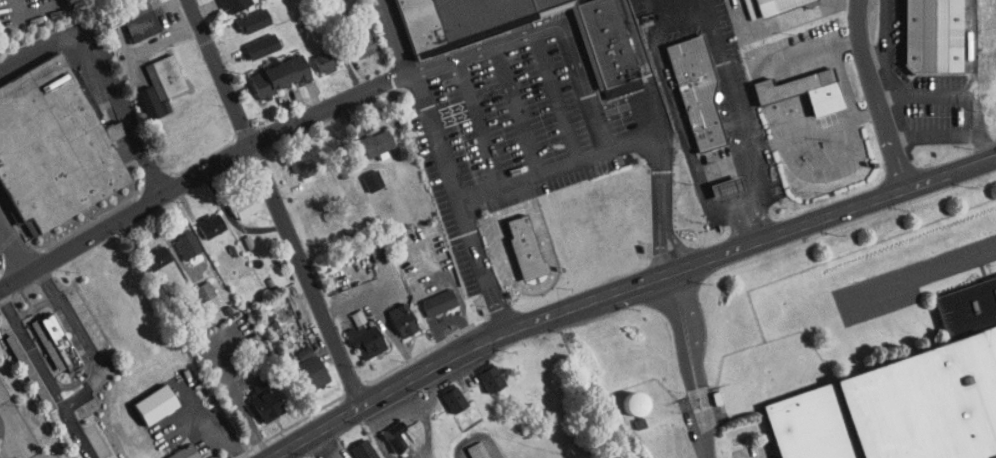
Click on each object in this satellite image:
building: (220, 2)
building: (547, 5)
building: (776, 5)
road: (21, 8)
building: (242, 14)
building: (128, 15)
building: (456, 20)
building: (351, 35)
building: (935, 35)
road: (393, 37)
road: (887, 38)
building: (250, 39)
building: (609, 41)
building: (313, 55)
building: (267, 69)
road: (103, 75)
road: (651, 75)
building: (148, 79)
road: (583, 81)
building: (793, 83)
building: (697, 89)
road: (557, 95)
road: (934, 95)
road: (876, 96)
road: (519, 108)
road: (677, 109)
road: (743, 119)
road: (481, 121)
road: (982, 124)
parking lot: (494, 129)
building: (365, 136)
road: (936, 136)
building: (55, 144)
building: (288, 155)
road: (545, 170)
building: (361, 174)
road: (191, 175)
building: (715, 181)
building: (727, 187)
gas station: (727, 187)
building: (234, 201)
road: (460, 202)
road: (279, 204)
building: (200, 219)
building: (175, 237)
building: (513, 240)
road: (4, 241)
building: (526, 247)
road: (14, 249)
building: (145, 251)
parking lot: (1, 255)
road: (925, 274)
building: (193, 284)
road: (630, 286)
building: (428, 296)
road: (38, 307)
building: (346, 311)
building: (392, 313)
building: (90, 321)
building: (356, 334)
building: (44, 336)
road: (87, 339)
road: (76, 340)
building: (60, 342)
road: (33, 349)
building: (299, 364)
road: (693, 364)
building: (20, 367)
building: (30, 370)
building: (480, 372)
building: (443, 393)
building: (254, 394)
road: (235, 397)
building: (624, 397)
building: (898, 406)
road: (214, 423)
road: (19, 425)
building: (385, 430)
road: (78, 432)
building: (353, 446)
building: (470, 447)
building: (171, 450)

